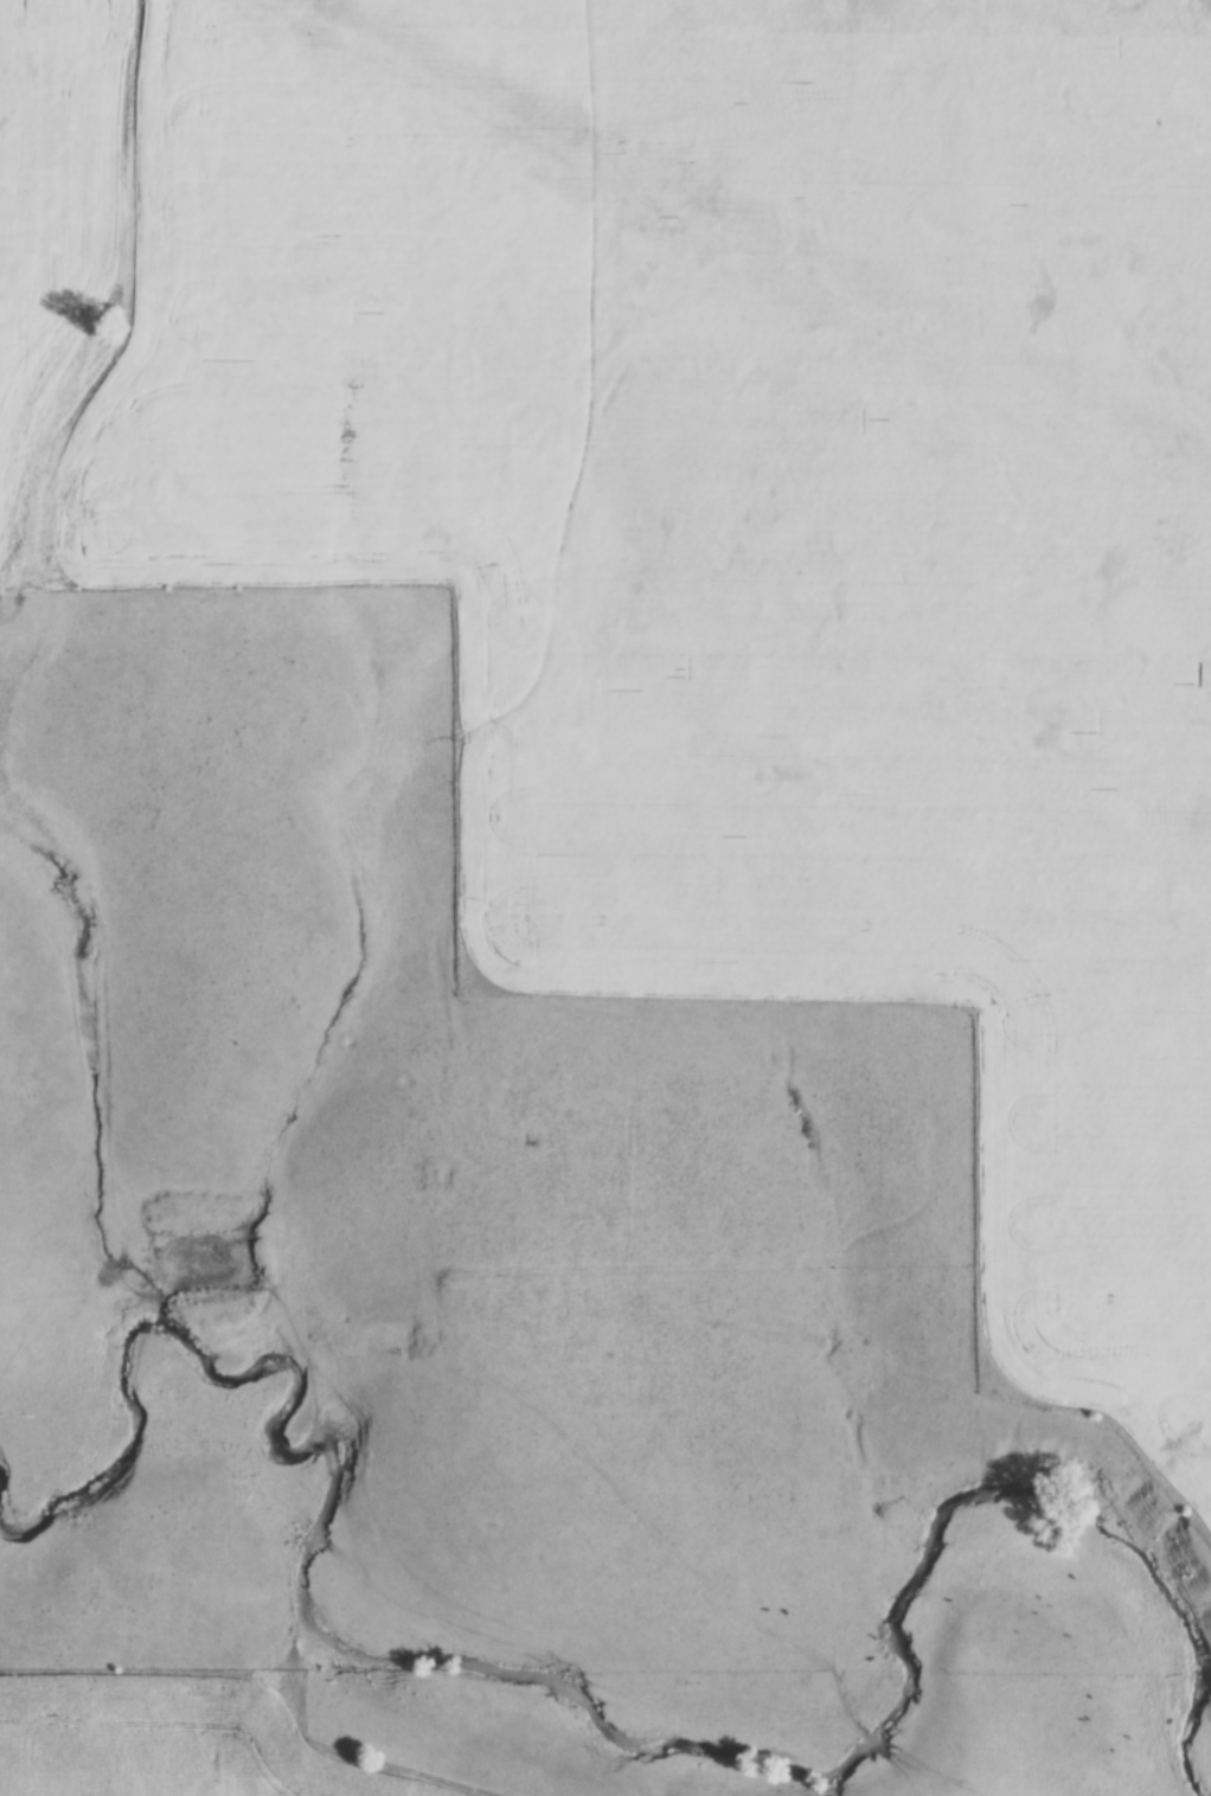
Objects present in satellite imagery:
crop: (193, 1747)

